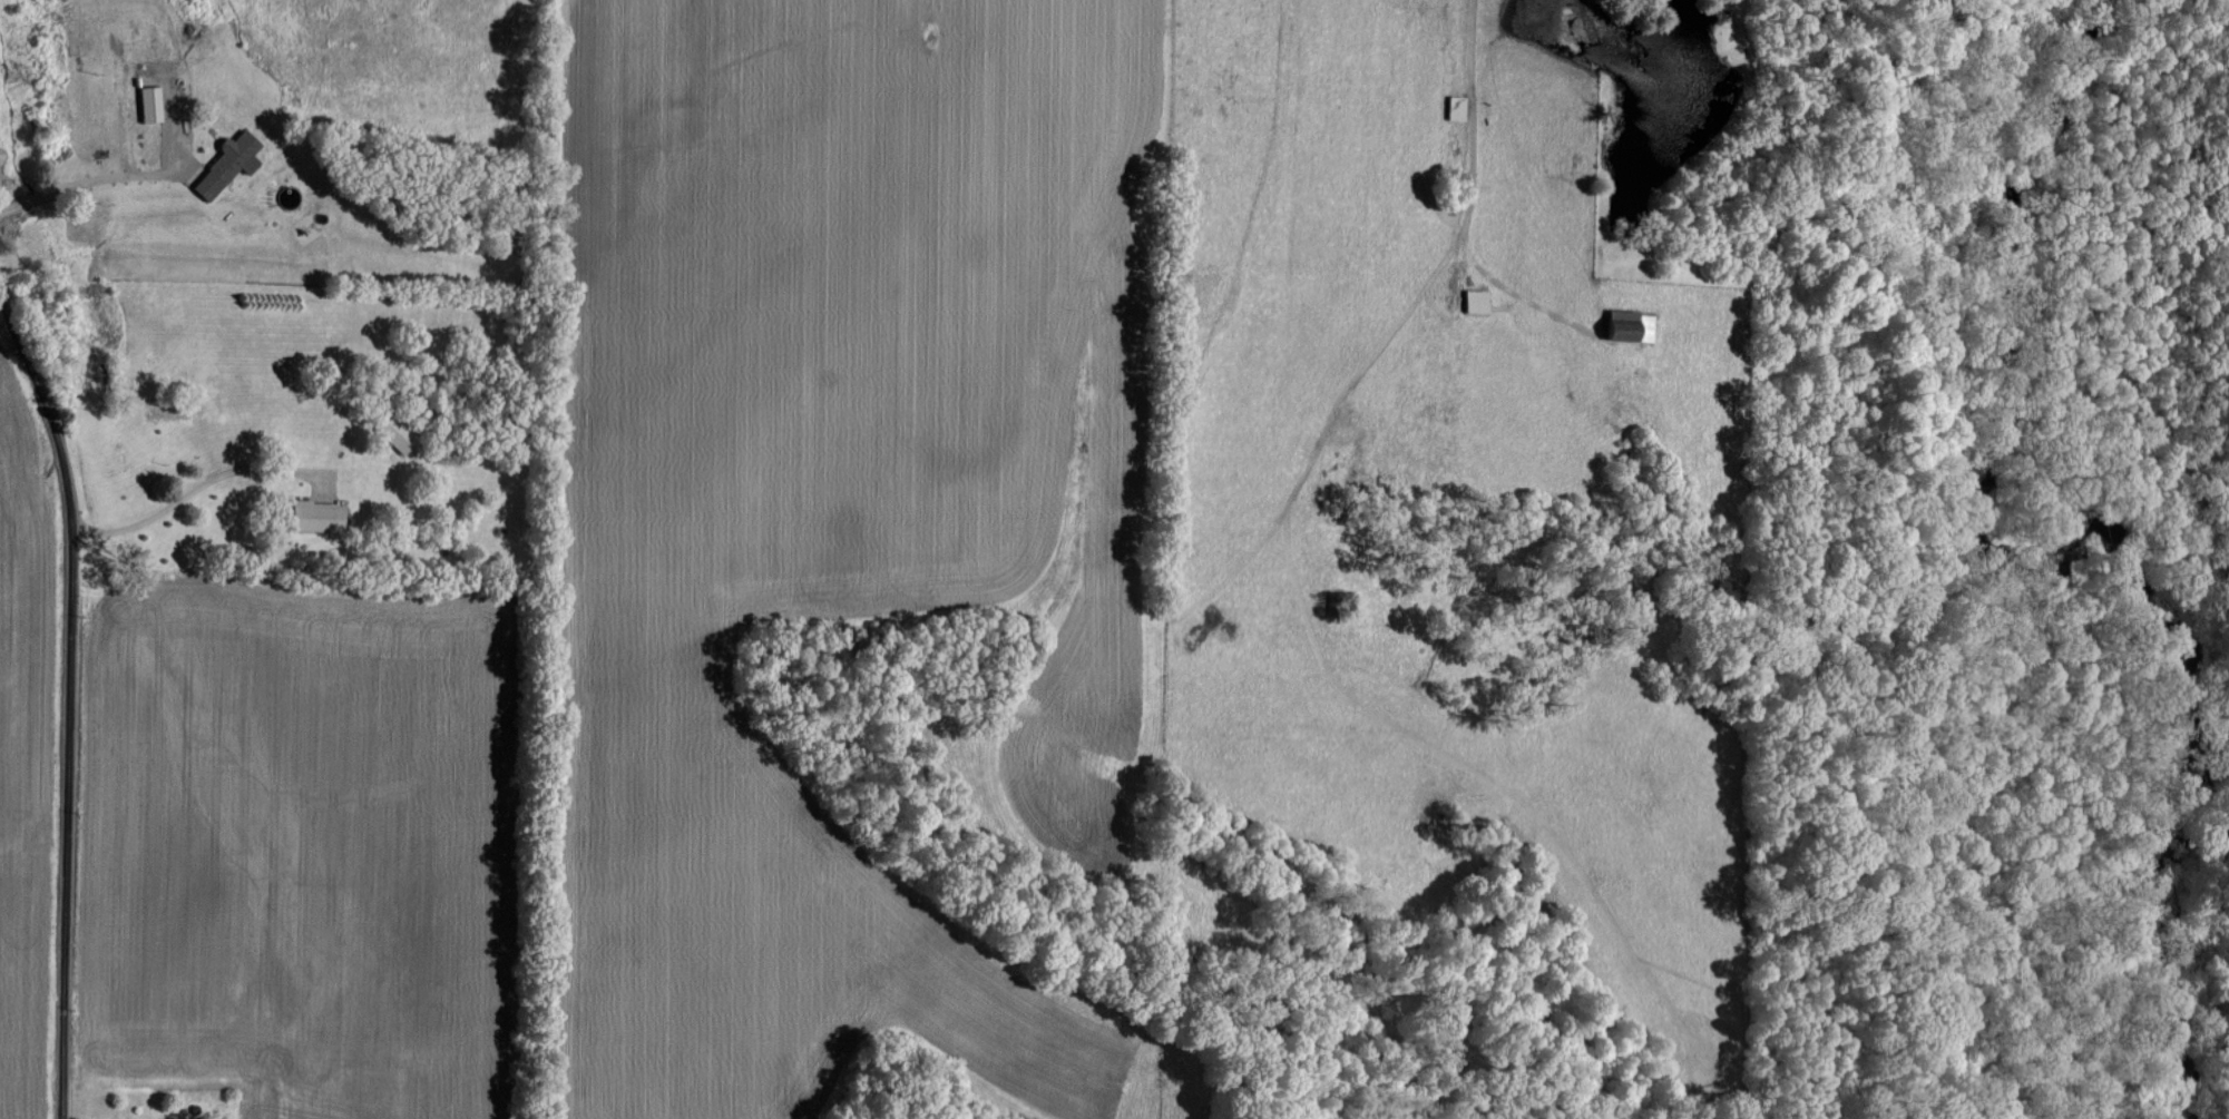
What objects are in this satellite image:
building: (146, 102)
building: (223, 164)
road: (1474, 165)
building: (1472, 301)
building: (1624, 325)
road: (153, 516)
building: (312, 516)
road: (70, 695)

